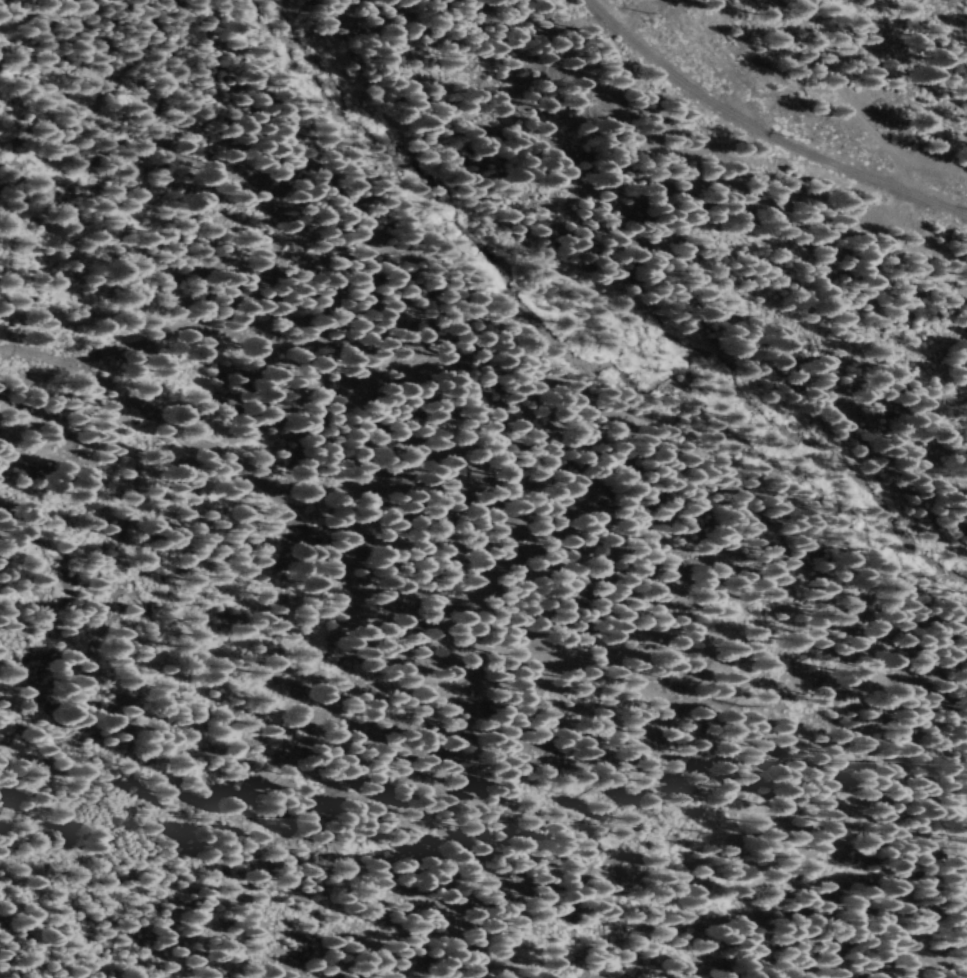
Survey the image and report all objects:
road: (882, 87)
railway: (767, 127)

